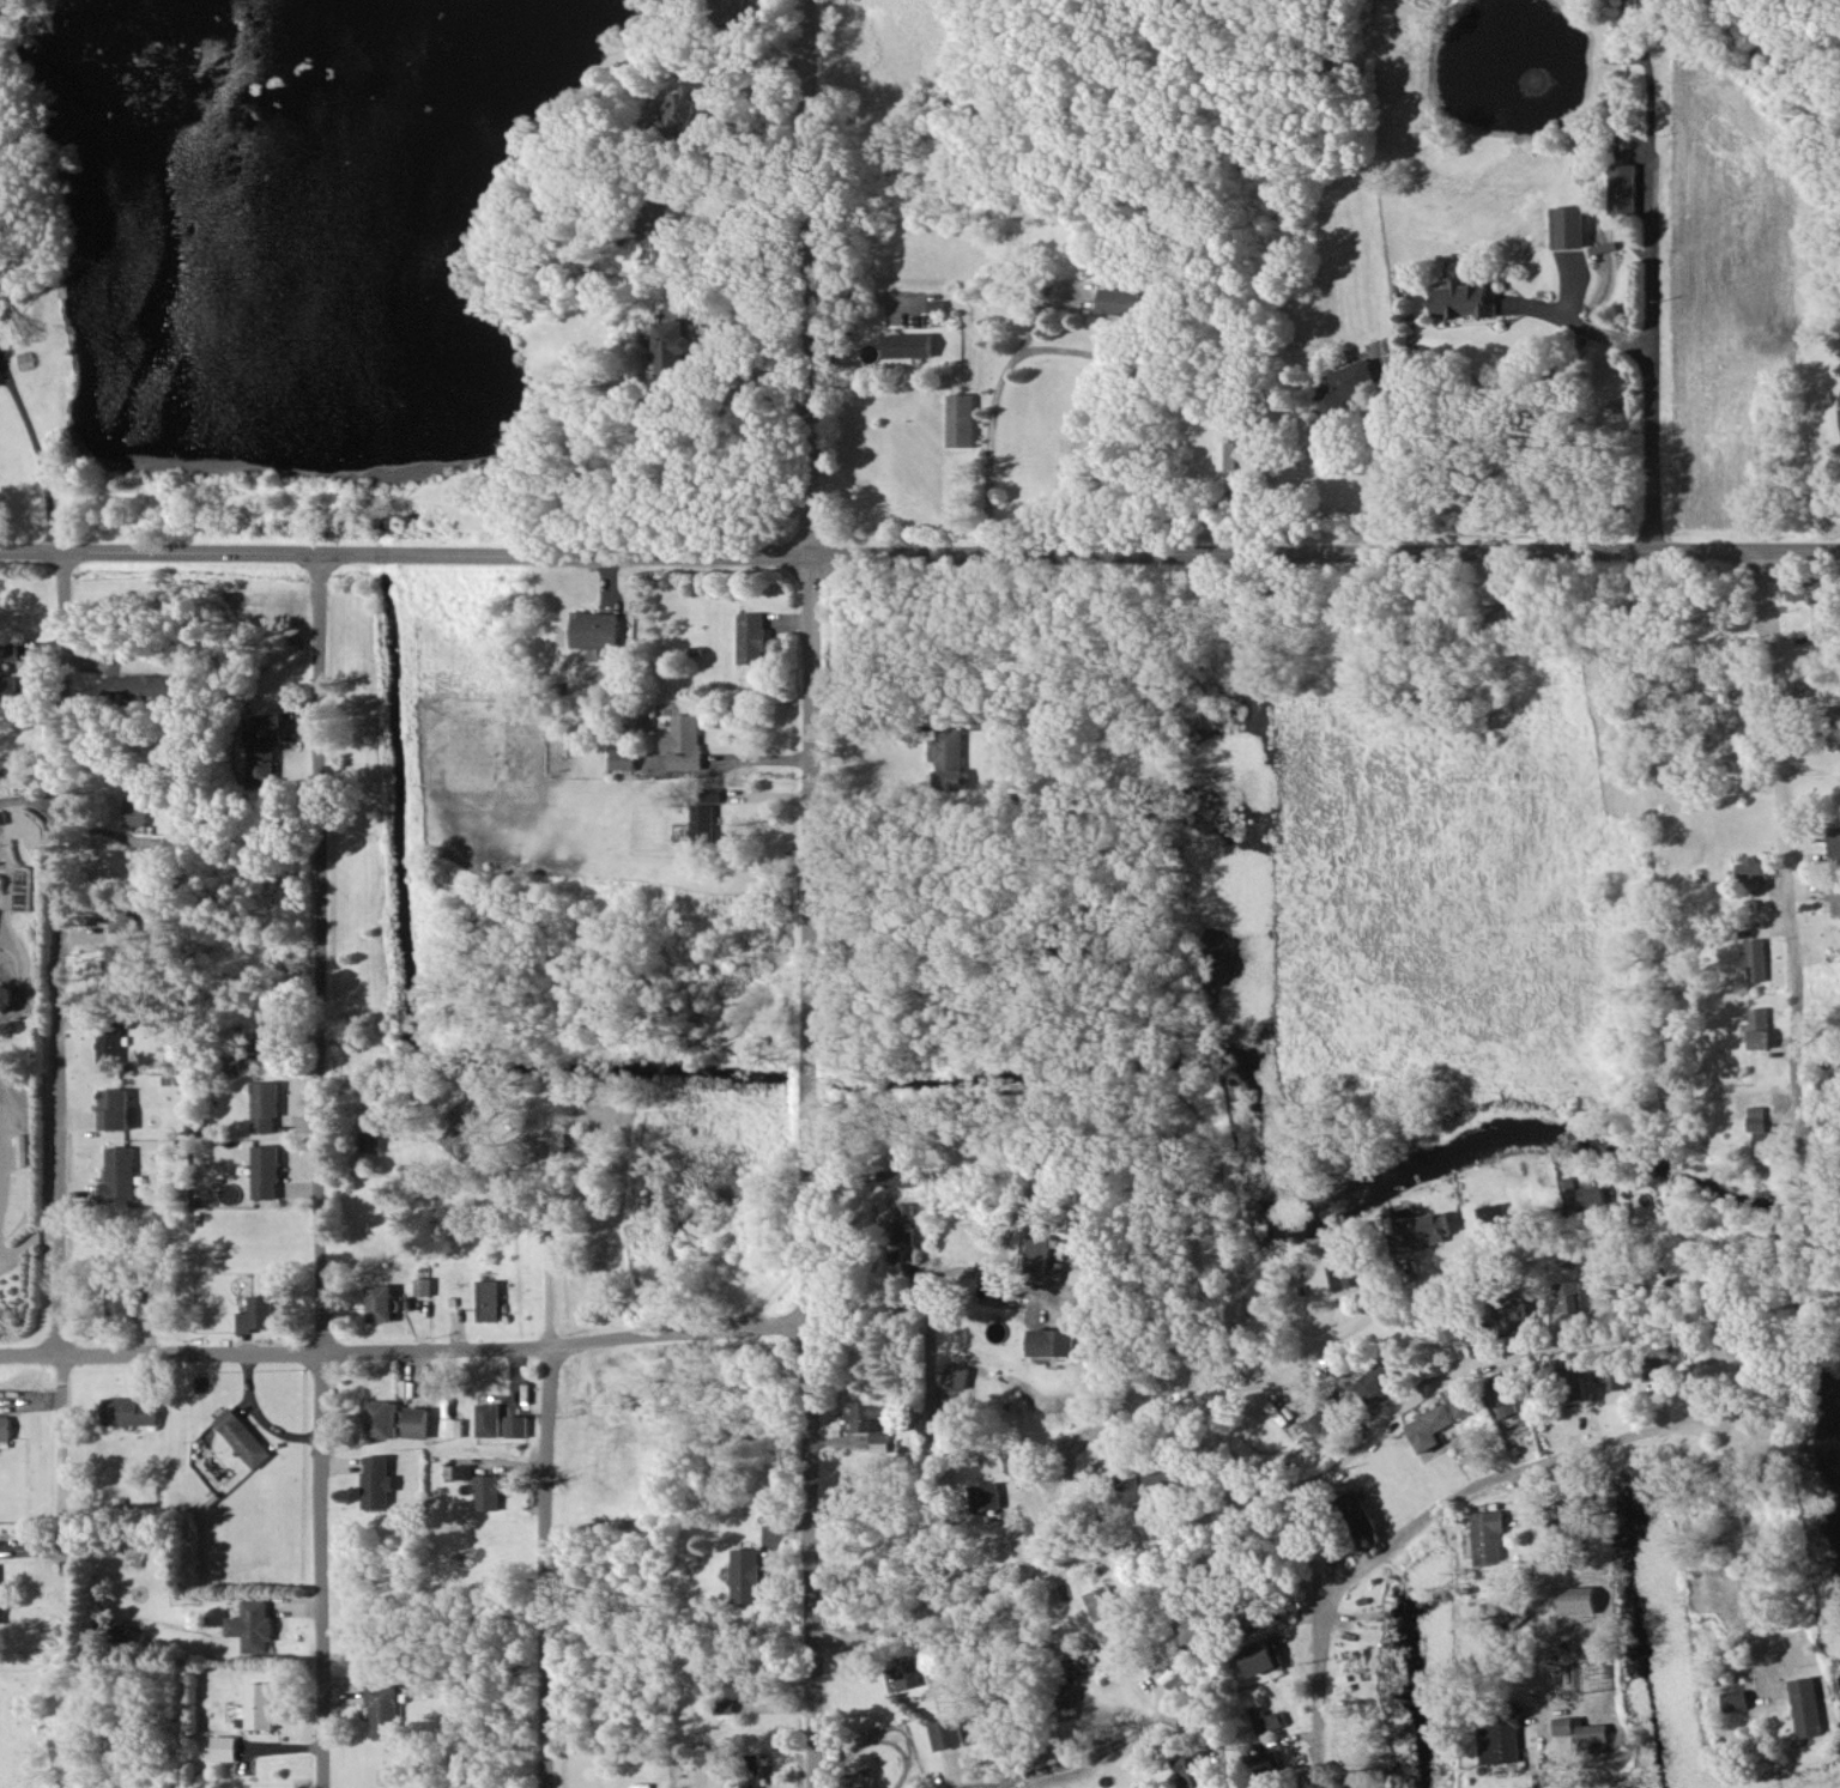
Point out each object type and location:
building: (732, 10)
building: (688, 109)
road: (1653, 177)
building: (1624, 188)
building: (661, 226)
building: (1569, 226)
road: (806, 278)
building: (1465, 298)
building: (1120, 301)
building: (910, 345)
building: (673, 346)
building: (1346, 384)
road: (1654, 384)
road: (1835, 411)
road: (993, 413)
building: (961, 419)
building: (1243, 454)
road: (1378, 456)
road: (35, 459)
road: (1213, 498)
road: (920, 558)
building: (1804, 589)
building: (1497, 613)
building: (751, 637)
building: (6, 650)
building: (138, 686)
building: (6, 689)
building: (683, 741)
building: (266, 747)
building: (622, 758)
road: (744, 758)
building: (950, 758)
building: (710, 794)
building: (138, 810)
building: (1, 817)
building: (702, 822)
building: (1834, 841)
building: (1751, 869)
building: (1834, 898)
road: (1790, 907)
building: (126, 921)
road: (61, 952)
building: (123, 958)
building: (1756, 959)
building: (1760, 1028)
building: (113, 1043)
building: (265, 1045)
building: (268, 1105)
building: (116, 1108)
building: (471, 1122)
building: (1766, 1134)
building: (371, 1141)
road: (1112, 1164)
road: (322, 1170)
building: (268, 1171)
road: (809, 1172)
building: (120, 1174)
building: (895, 1177)
building: (1581, 1194)
building: (1489, 1213)
building: (906, 1223)
building: (1423, 1231)
road: (1507, 1250)
building: (1037, 1253)
road: (1833, 1271)
building: (1344, 1273)
building: (423, 1286)
road: (938, 1286)
building: (1567, 1295)
building: (489, 1299)
building: (122, 1301)
building: (380, 1302)
building: (258, 1314)
building: (1513, 1316)
building: (1449, 1338)
building: (1058, 1341)
road: (402, 1348)
building: (1653, 1369)
road: (1741, 1374)
building: (960, 1375)
building: (1611, 1375)
building: (1576, 1378)
building: (1375, 1382)
building: (1507, 1398)
building: (1466, 1402)
building: (129, 1411)
building: (382, 1418)
building: (489, 1419)
building: (870, 1420)
building: (417, 1422)
road: (1641, 1422)
building: (517, 1425)
building: (5, 1426)
building: (453, 1426)
building: (1433, 1426)
building: (1322, 1429)
building: (243, 1437)
road: (62, 1450)
road: (549, 1457)
building: (459, 1471)
building: (380, 1481)
building: (1151, 1481)
road: (1283, 1487)
road: (934, 1490)
building: (489, 1492)
building: (985, 1496)
building: (1358, 1513)
building: (1488, 1537)
building: (747, 1575)
road: (1535, 1584)
building: (1578, 1599)
building: (1103, 1601)
building: (1, 1610)
building: (1499, 1610)
building: (254, 1625)
building: (125, 1630)
building: (1196, 1634)
building: (1495, 1639)
building: (1261, 1656)
building: (901, 1674)
building: (1179, 1684)
building: (742, 1687)
road: (1317, 1691)
building: (1736, 1699)
building: (259, 1707)
building: (727, 1707)
building: (1808, 1707)
building: (386, 1709)
building: (1266, 1720)
building: (1581, 1731)
building: (948, 1733)
building: (1500, 1734)
building: (225, 1747)
road: (1019, 1763)
building: (1267, 1763)
building: (752, 1770)
building: (1196, 1770)

